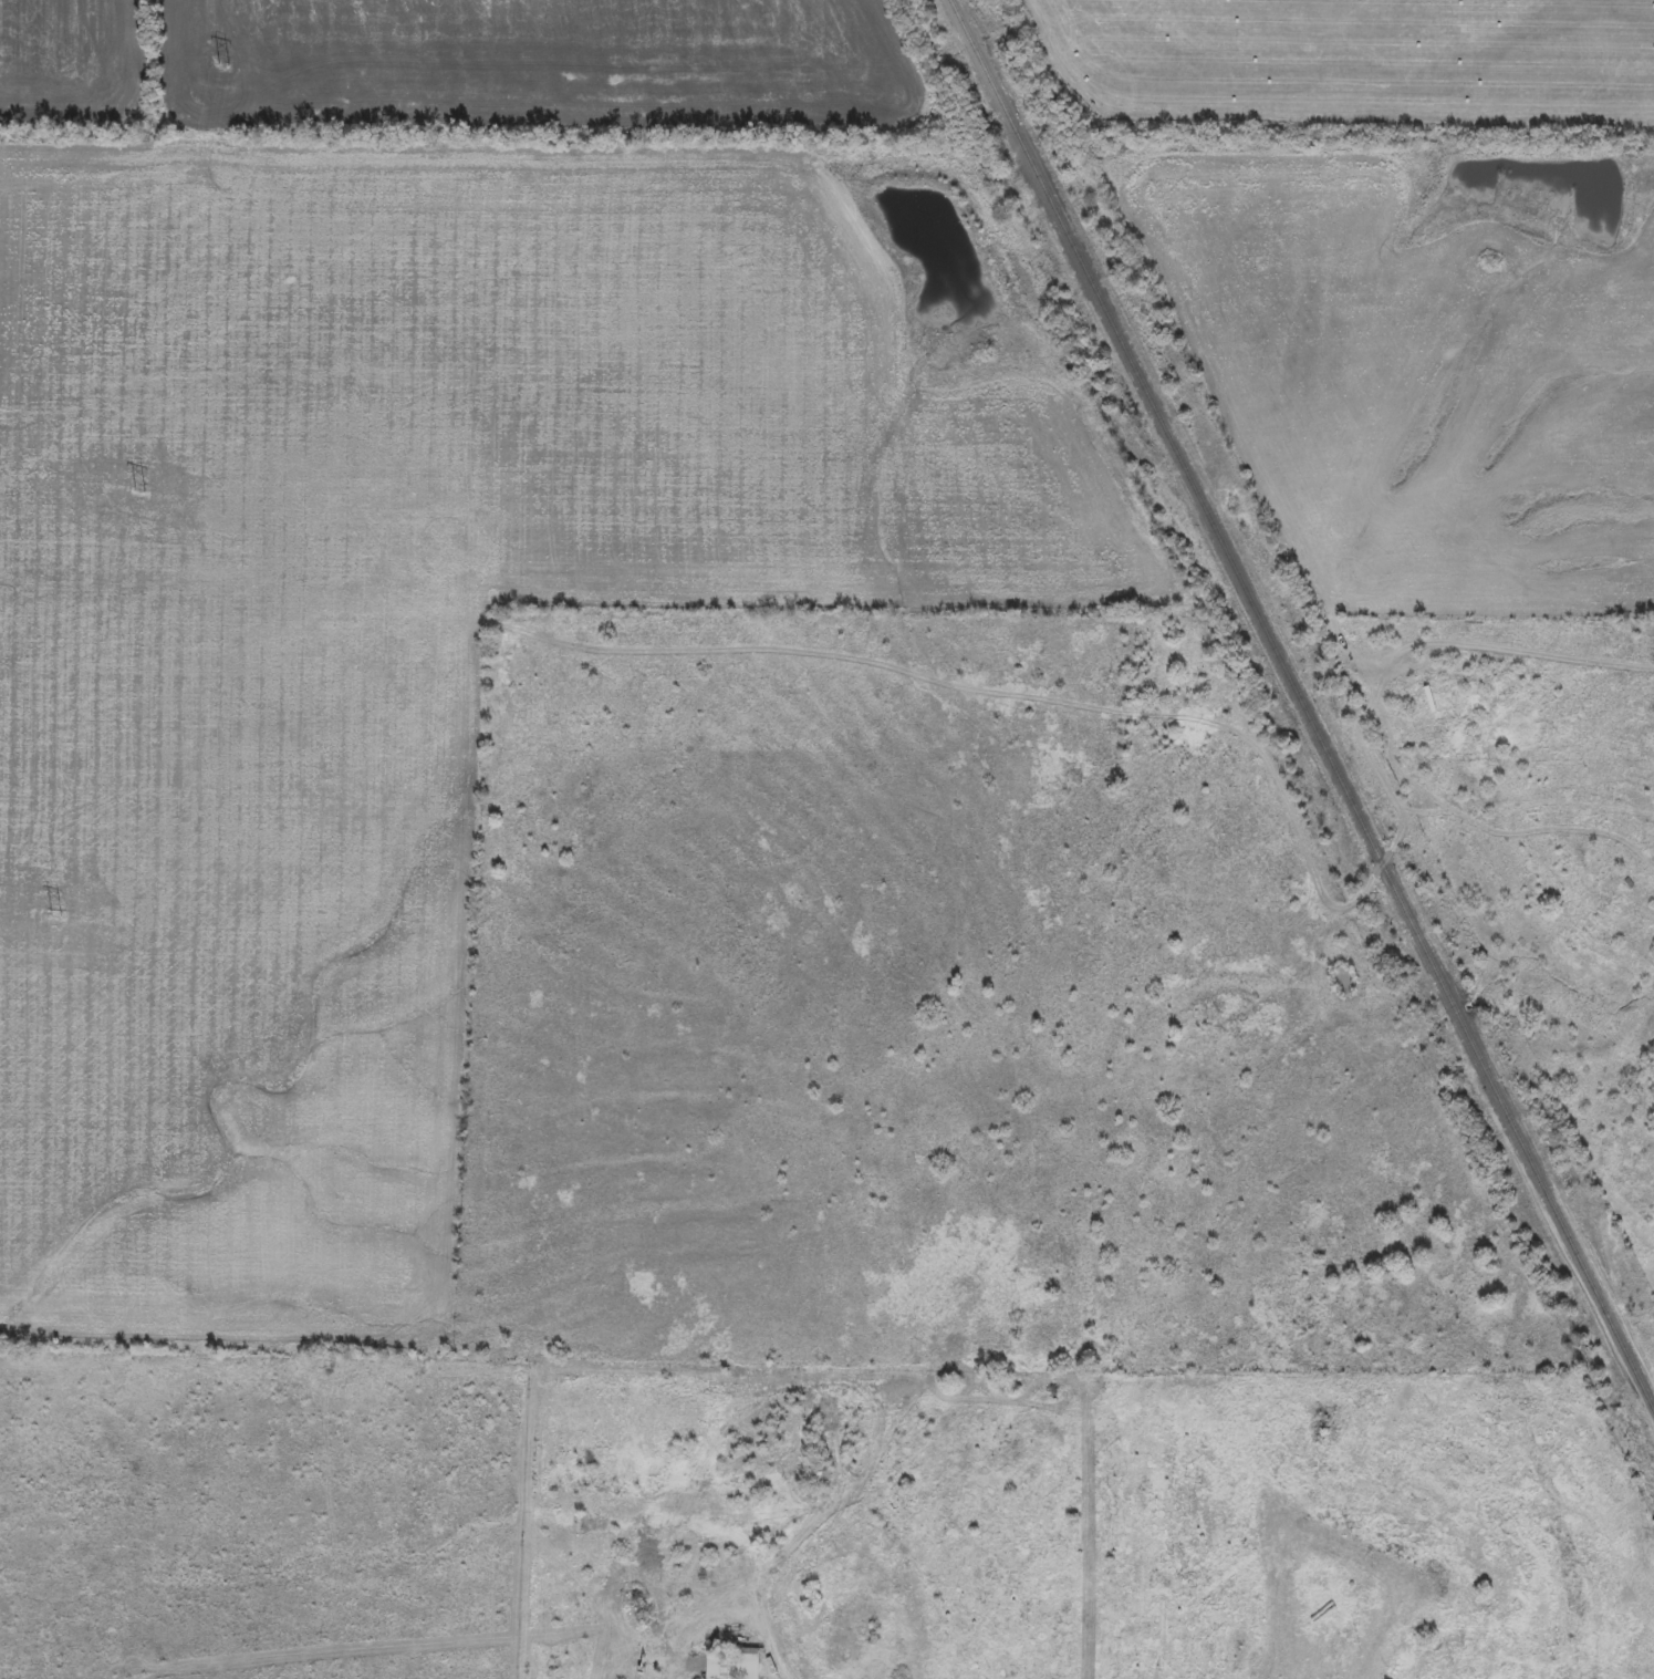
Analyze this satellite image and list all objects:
power tower: (222, 68)
power tower: (144, 496)
railway: (1301, 709)
power tower: (60, 920)
building: (818, 1474)
road: (574, 1503)
road: (758, 1574)
road: (685, 1613)
building: (730, 1665)

